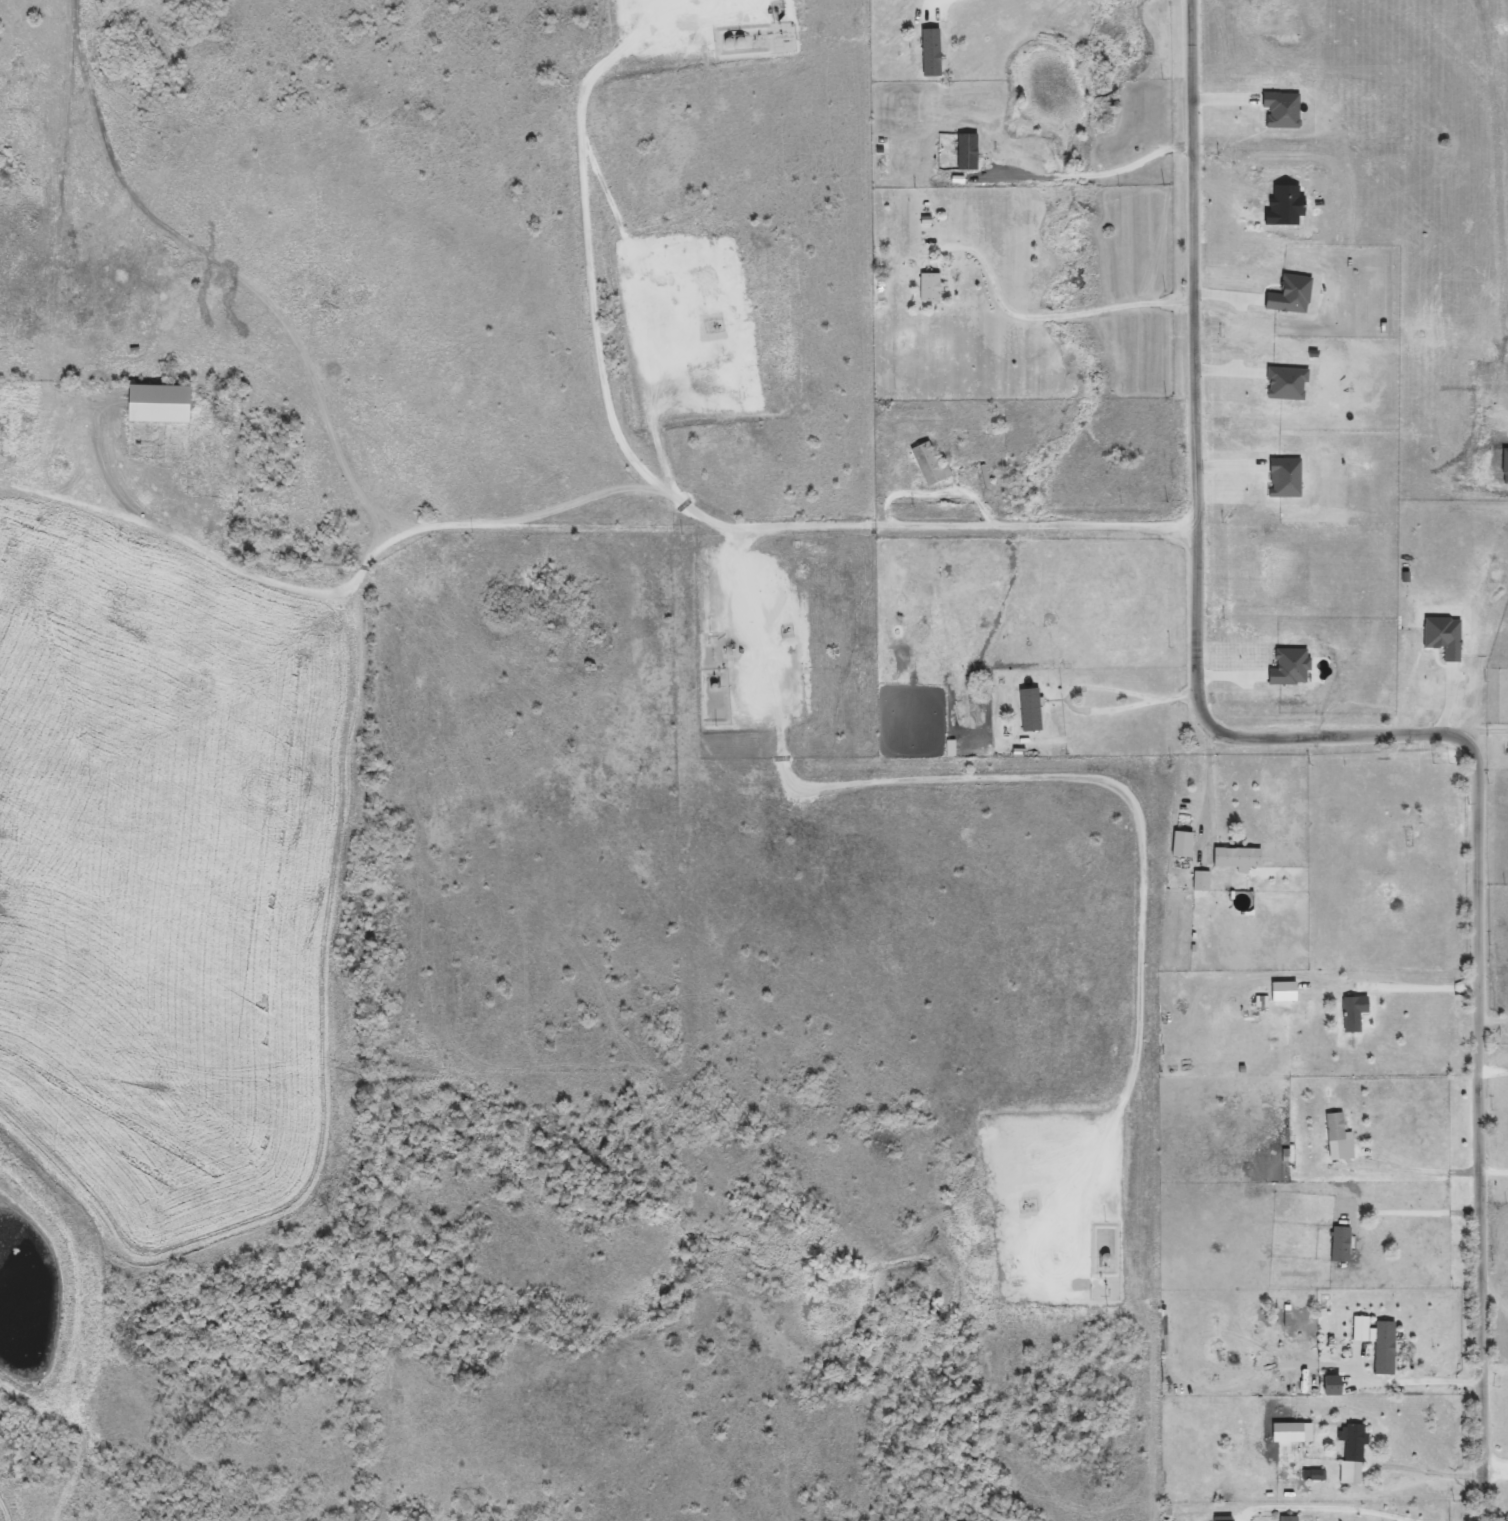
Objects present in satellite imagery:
road: (943, 2)
building: (927, 53)
road: (1089, 175)
building: (927, 288)
road: (1044, 321)
building: (151, 404)
building: (925, 465)
road: (451, 525)
road: (968, 527)
road: (1081, 687)
building: (1028, 710)
road: (1485, 730)
road: (1363, 738)
road: (1206, 782)
building: (1396, 824)
building: (1233, 857)
building: (1197, 882)
road: (1423, 987)
building: (1350, 1013)
building: (1332, 1127)
road: (1496, 1169)
road: (1418, 1170)
road: (1413, 1210)
building: (1338, 1244)
building: (1375, 1309)
building: (1382, 1348)
road: (1412, 1381)
building: (1352, 1443)
road: (1428, 1466)
road: (1357, 1505)
road: (449, 1509)
building: (1257, 1519)
building: (1286, 1519)

